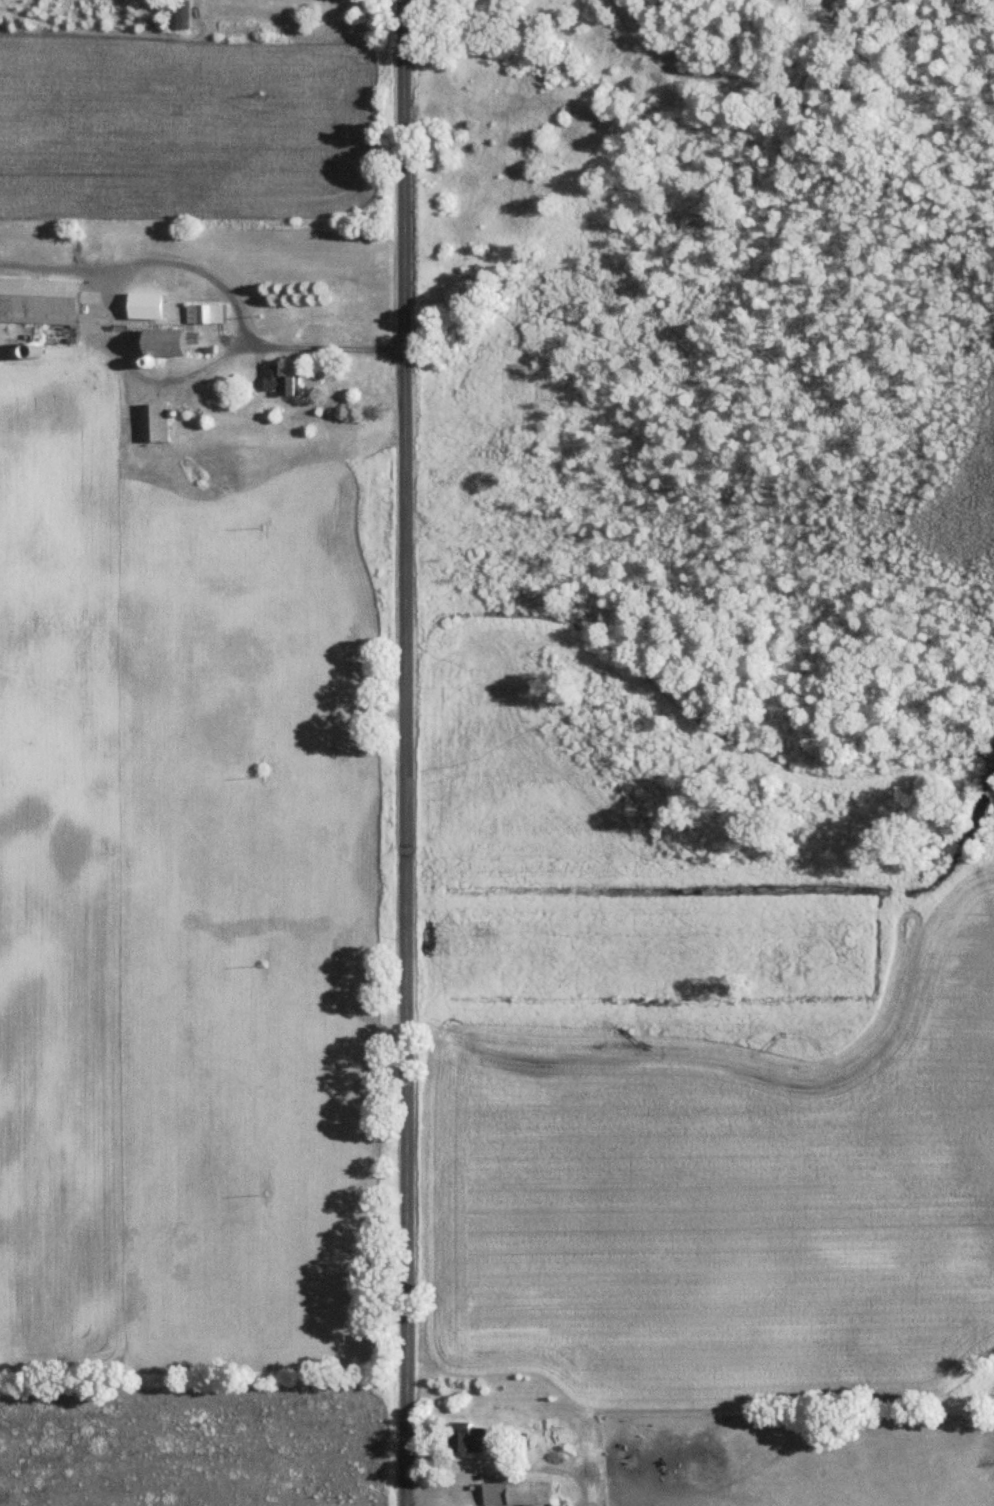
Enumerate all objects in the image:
building: (179, 14)
building: (38, 300)
building: (206, 312)
building: (167, 341)
road: (132, 371)
building: (280, 379)
building: (158, 421)
road: (411, 752)
building: (471, 1439)
road: (450, 1488)
building: (519, 1493)

